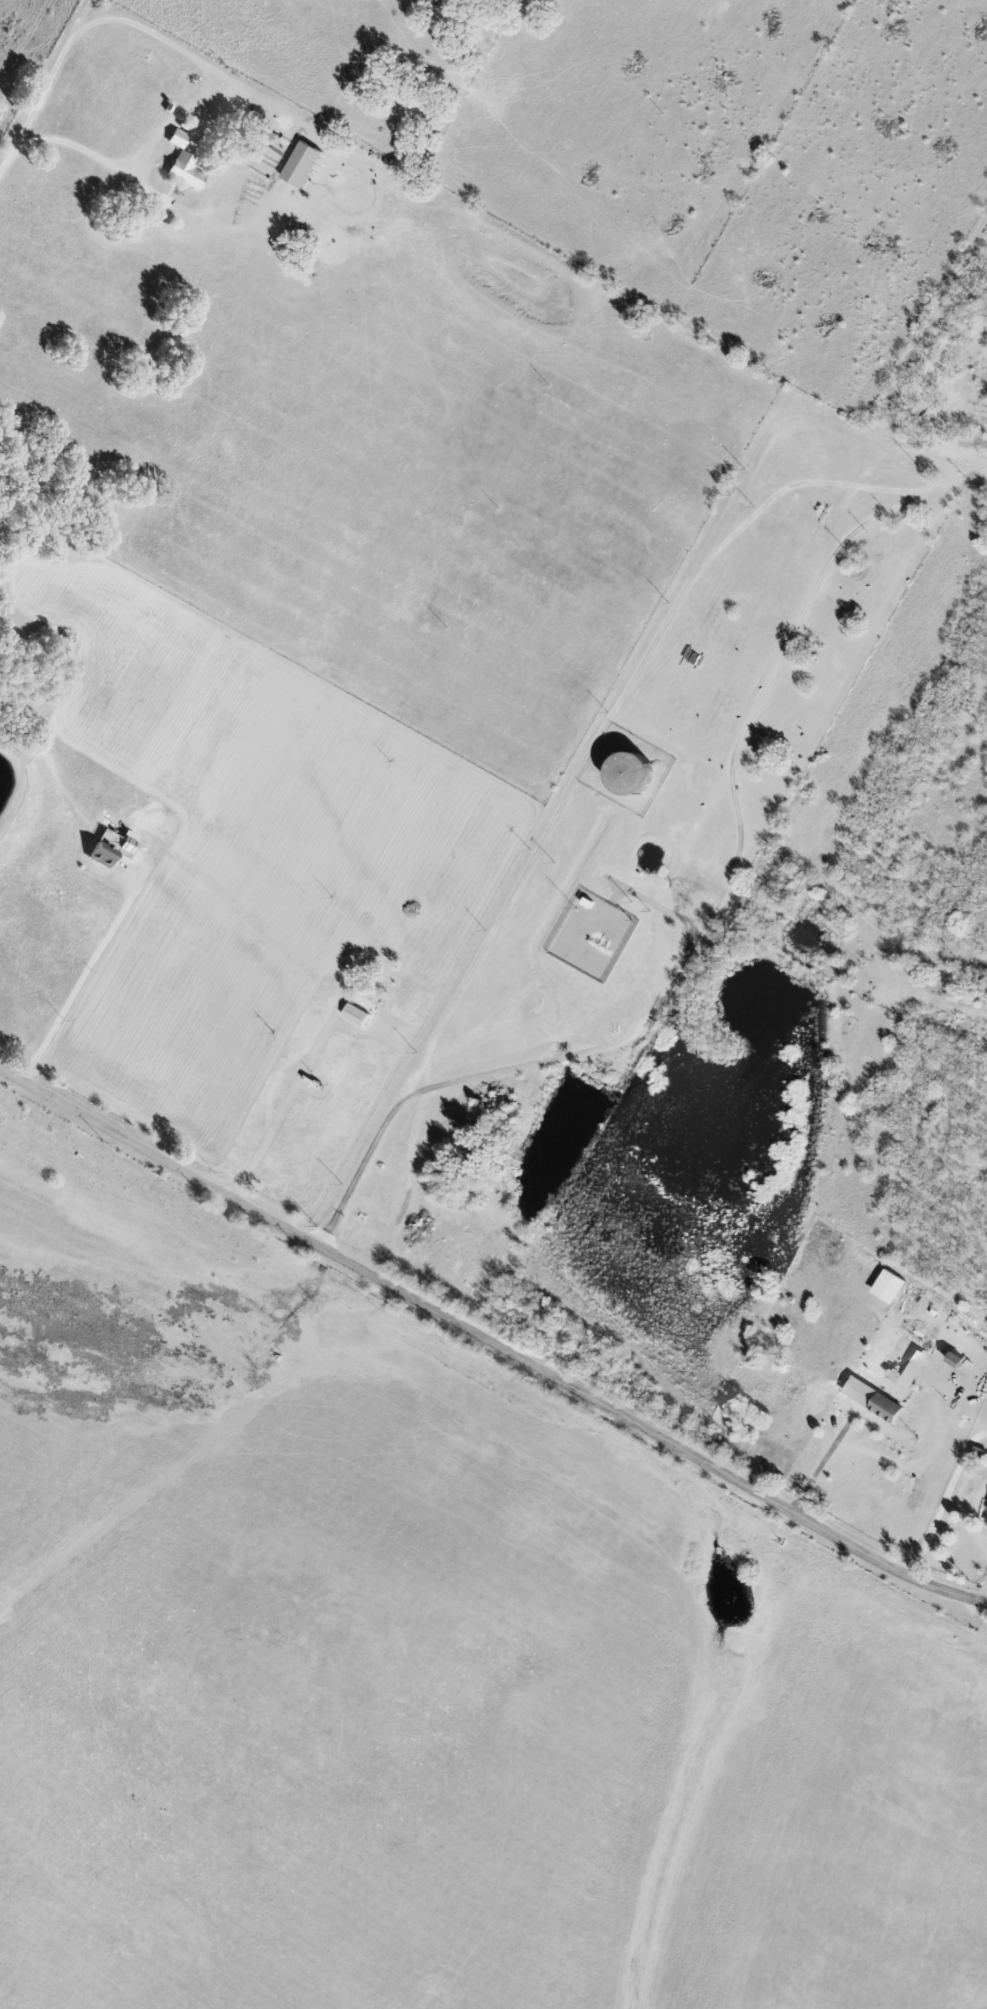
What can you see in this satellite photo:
road: (92, 13)
building: (177, 138)
building: (300, 165)
road: (131, 170)
building: (187, 171)
road: (458, 210)
road: (604, 727)
road: (733, 818)
building: (111, 847)
road: (81, 974)
building: (354, 1015)
road: (268, 1138)
road: (360, 1167)
road: (489, 1343)
building: (954, 1361)
building: (872, 1399)
road: (940, 1509)
building: (986, 1509)
road: (983, 1593)

